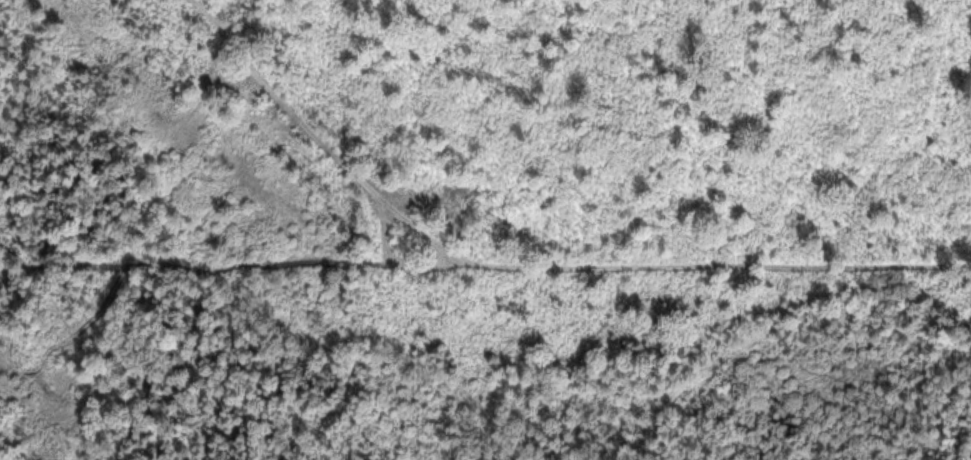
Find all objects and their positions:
road: (318, 134)
road: (384, 228)
road: (485, 263)

